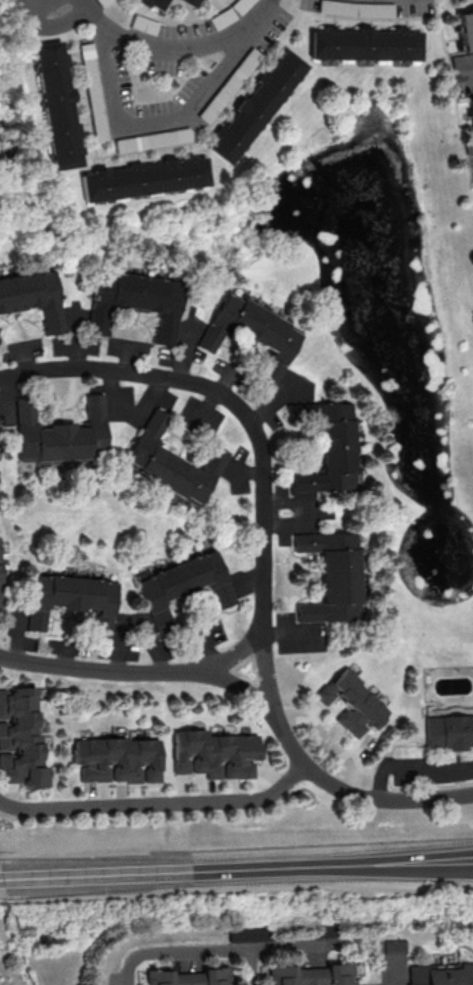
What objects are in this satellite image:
building: (193, 3)
building: (157, 4)
building: (144, 25)
building: (468, 31)
building: (368, 45)
road: (178, 50)
building: (59, 106)
building: (258, 107)
road: (161, 116)
building: (146, 180)
building: (34, 298)
building: (138, 303)
building: (256, 334)
building: (63, 435)
road: (254, 436)
building: (330, 448)
building: (173, 464)
building: (334, 578)
building: (1, 581)
building: (187, 585)
building: (75, 602)
road: (234, 655)
road: (97, 666)
road: (240, 688)
building: (355, 704)
building: (450, 730)
building: (23, 737)
building: (218, 755)
building: (122, 760)
road: (415, 770)
road: (357, 794)
road: (159, 805)
road: (236, 847)
road: (236, 870)
road: (240, 888)
road: (4, 902)
road: (285, 946)
road: (196, 953)
building: (314, 974)
road: (389, 974)
building: (441, 974)
building: (192, 976)

